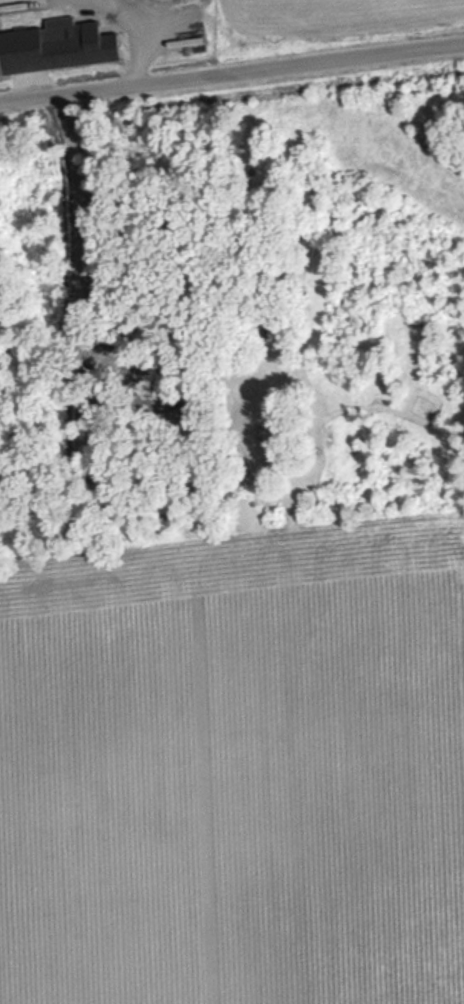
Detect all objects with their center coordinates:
road: (135, 39)
building: (58, 45)
road: (231, 76)

